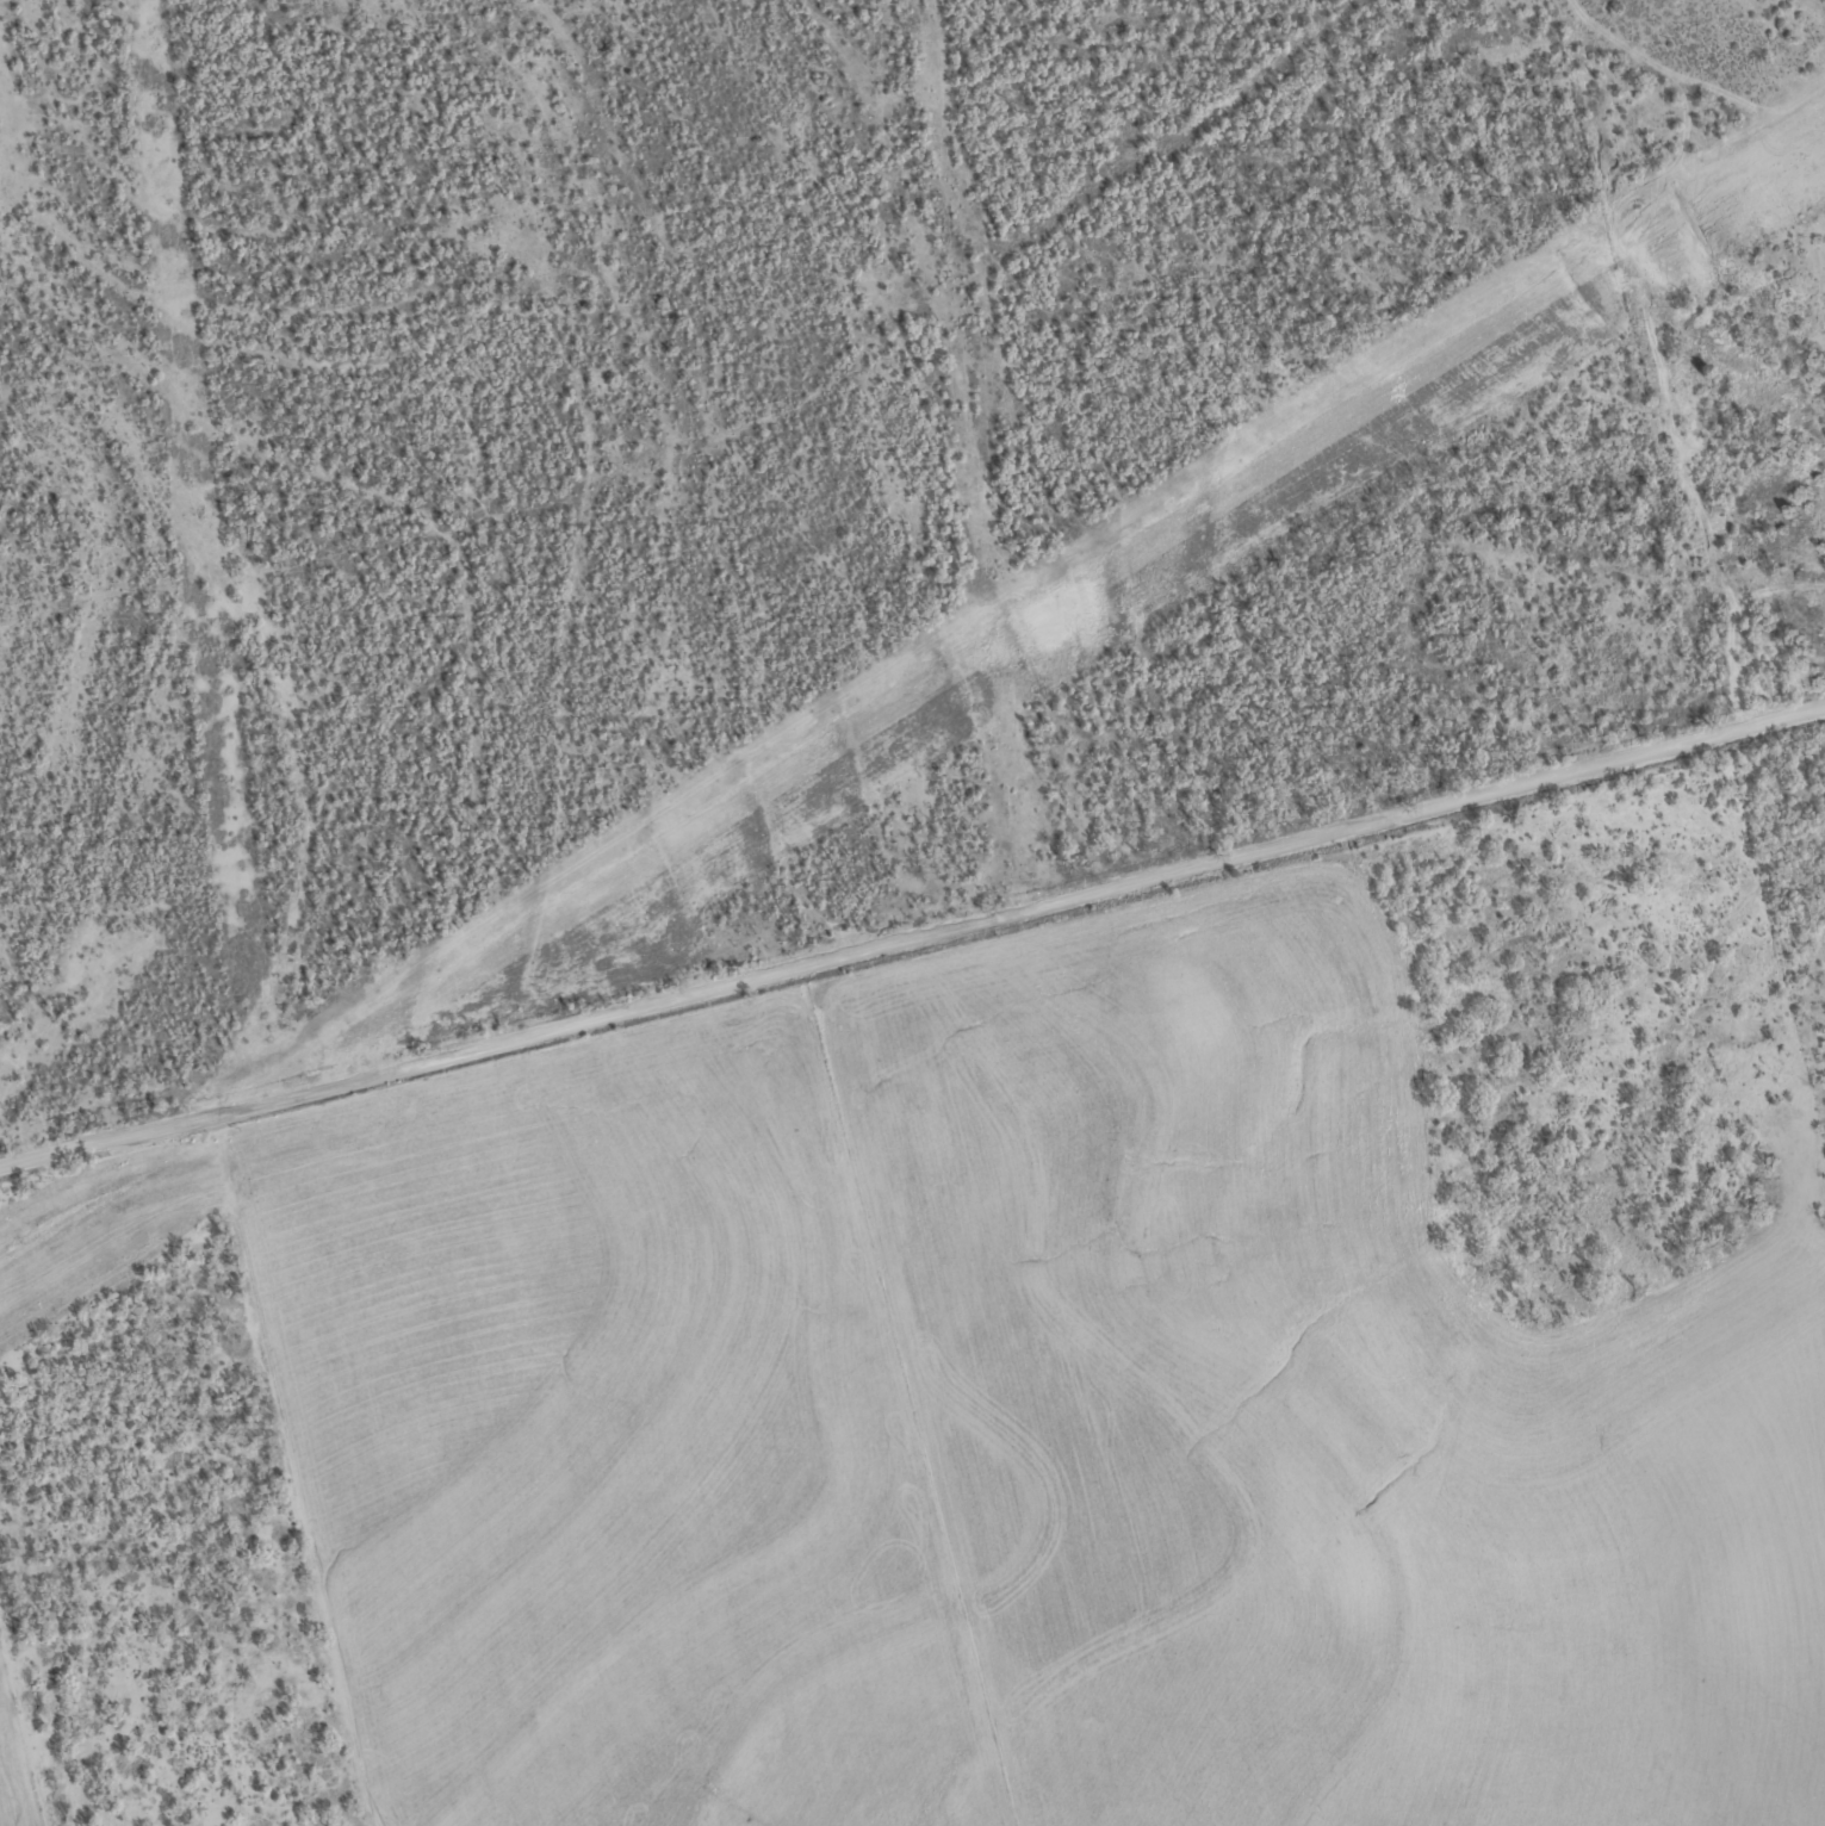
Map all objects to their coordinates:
road: (913, 920)
road: (286, 1464)

